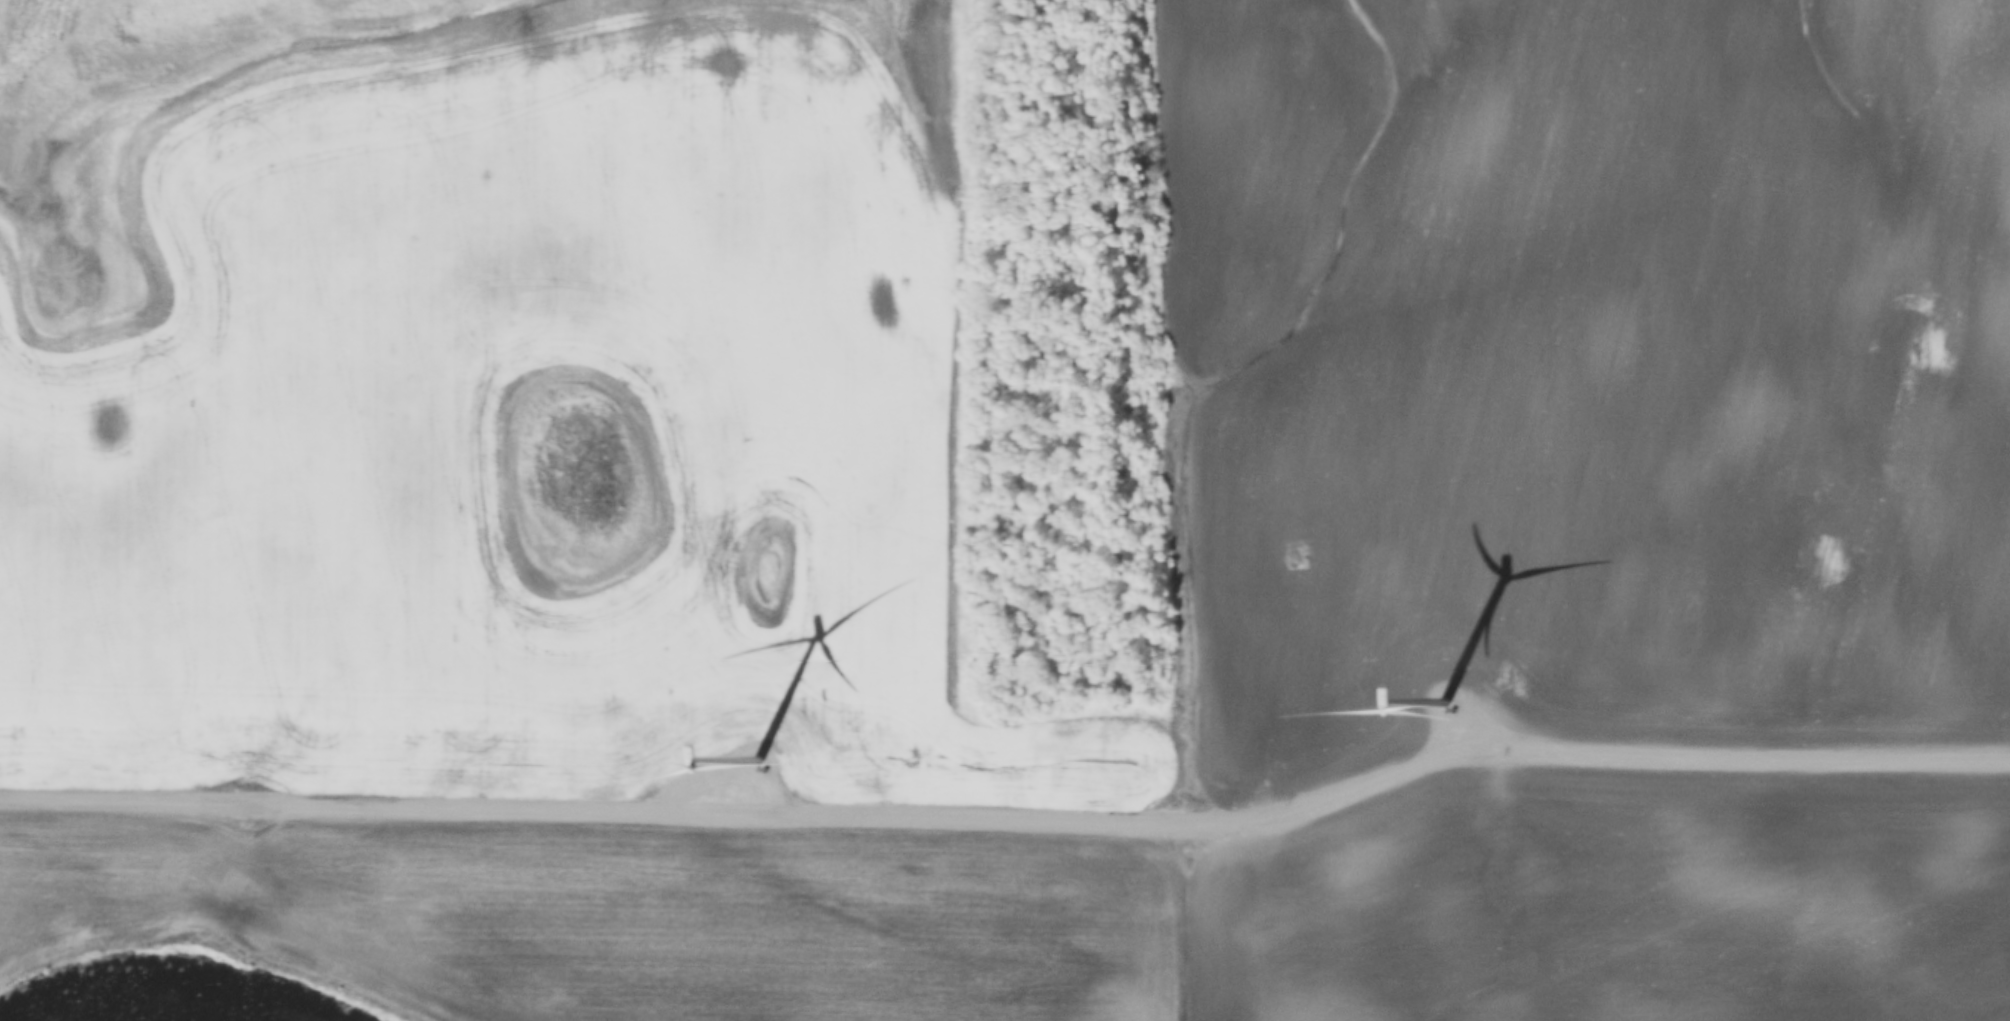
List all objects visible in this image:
road: (1171, 401)
wind turbine: (1444, 702)
wind turbine: (756, 762)
road: (1011, 824)

